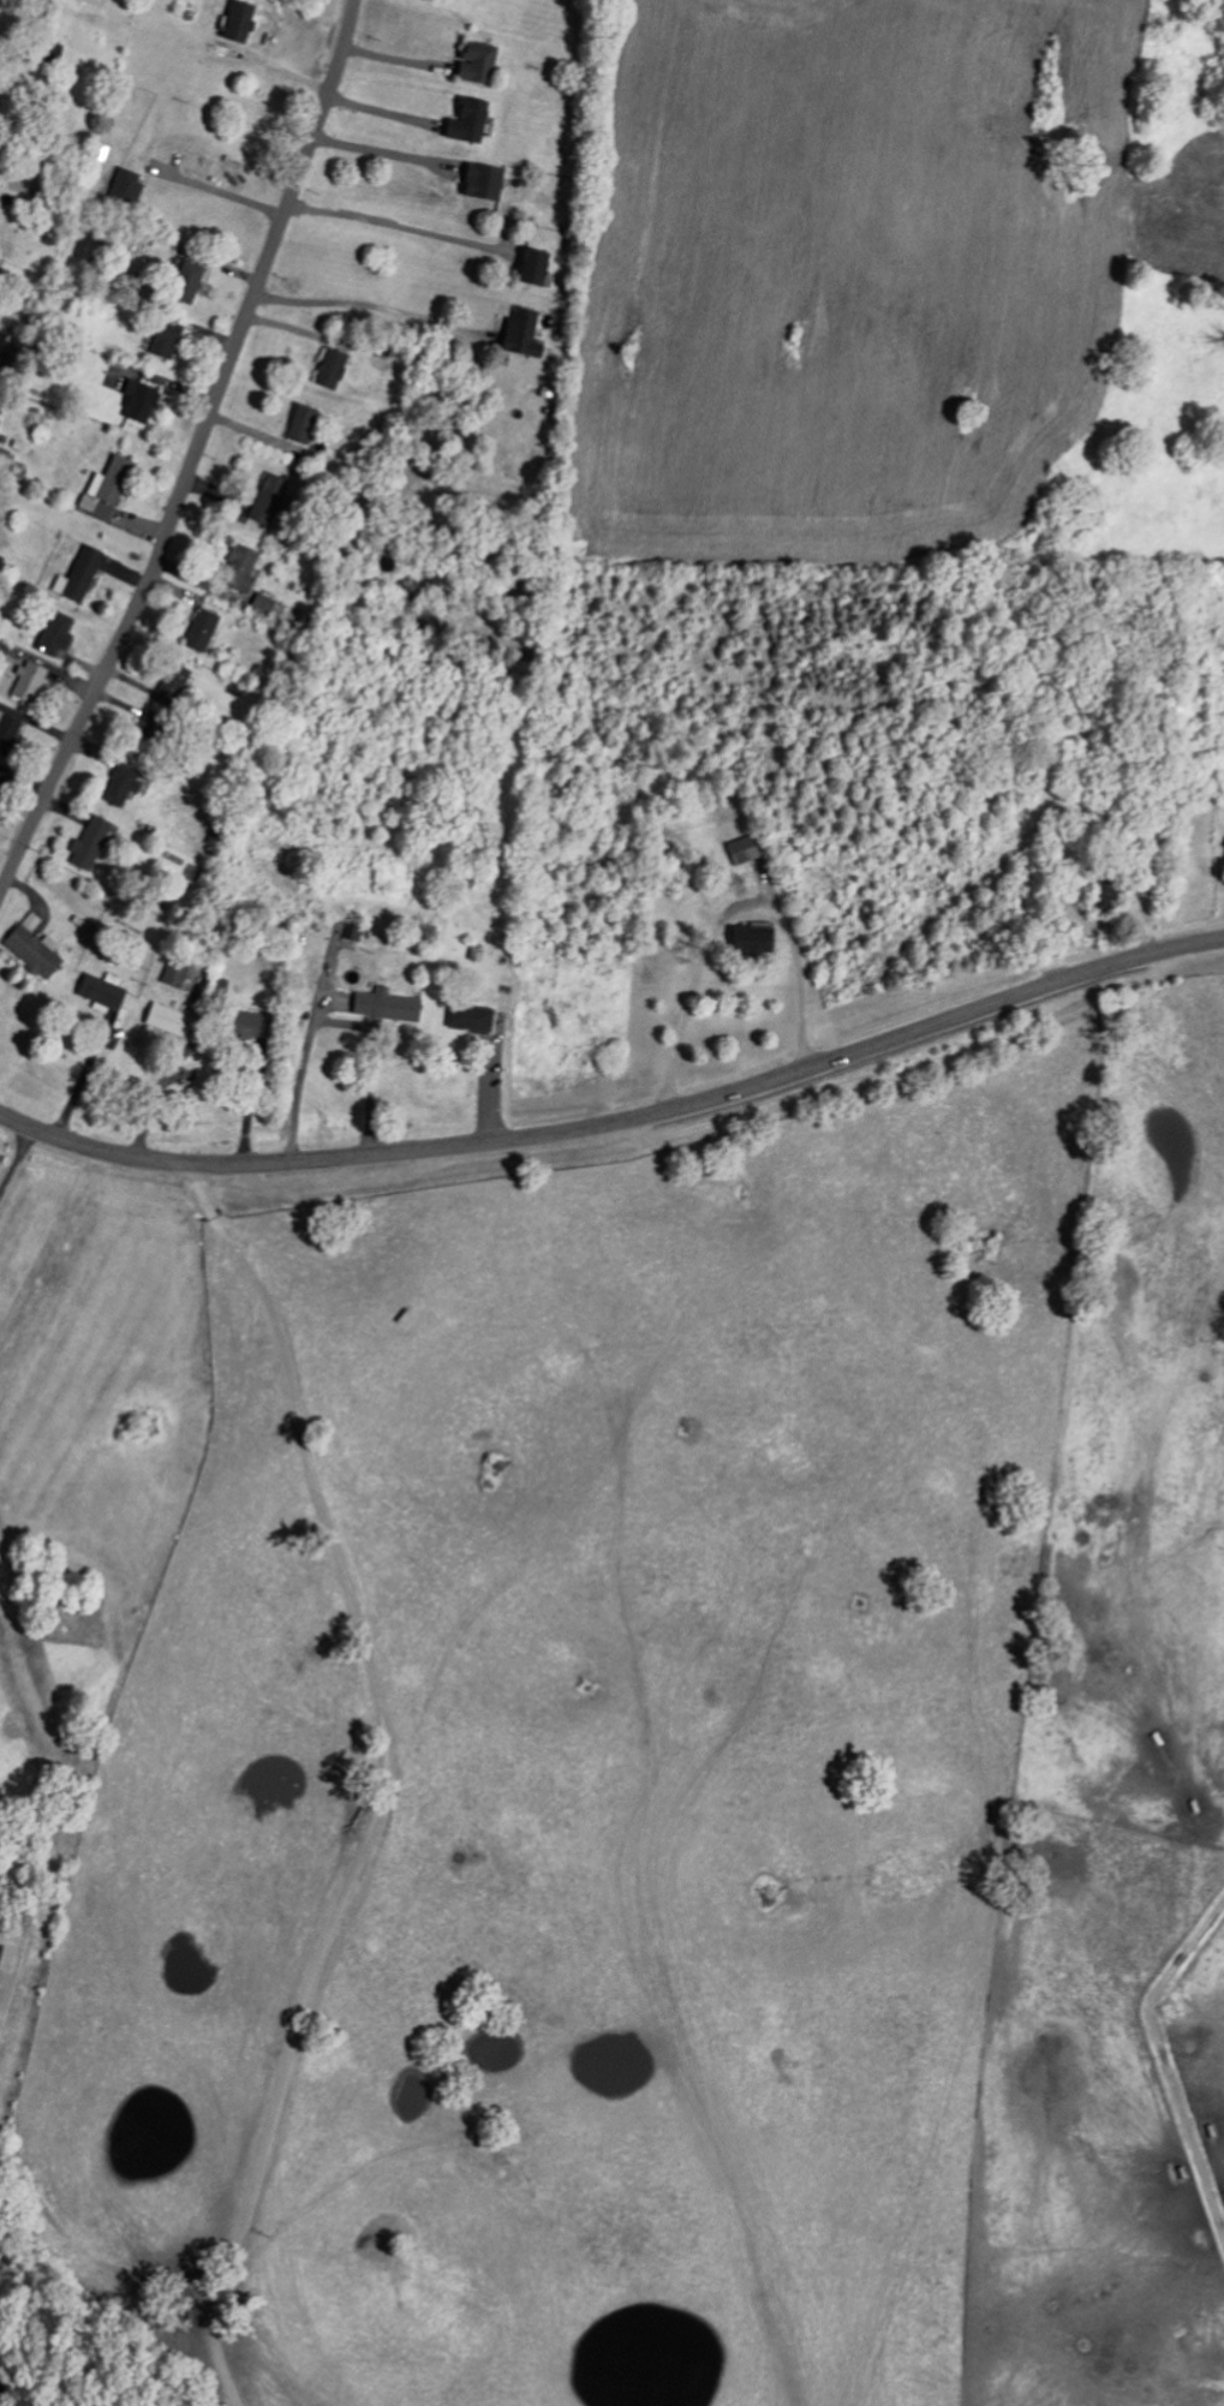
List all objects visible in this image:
building: (89, 0)
building: (237, 20)
building: (48, 48)
building: (473, 61)
building: (465, 119)
road: (378, 151)
building: (480, 180)
building: (123, 184)
road: (219, 190)
road: (394, 225)
building: (530, 265)
building: (184, 281)
road: (368, 305)
building: (519, 333)
building: (162, 338)
building: (328, 368)
building: (136, 400)
building: (299, 423)
road: (197, 454)
building: (105, 488)
building: (265, 498)
building: (237, 567)
building: (77, 574)
building: (261, 602)
building: (197, 629)
building: (52, 633)
building: (1, 650)
building: (171, 680)
building: (26, 681)
building: (120, 783)
building: (88, 843)
building: (741, 849)
road: (733, 915)
building: (748, 939)
building: (31, 947)
building: (171, 974)
building: (100, 990)
building: (383, 1004)
building: (467, 1016)
road: (334, 1017)
building: (167, 1020)
building: (245, 1023)
road: (84, 1075)
road: (157, 1095)
road: (250, 1101)
road: (619, 1120)
road: (17, 1160)
road: (384, 1779)
building: (7, 1958)

